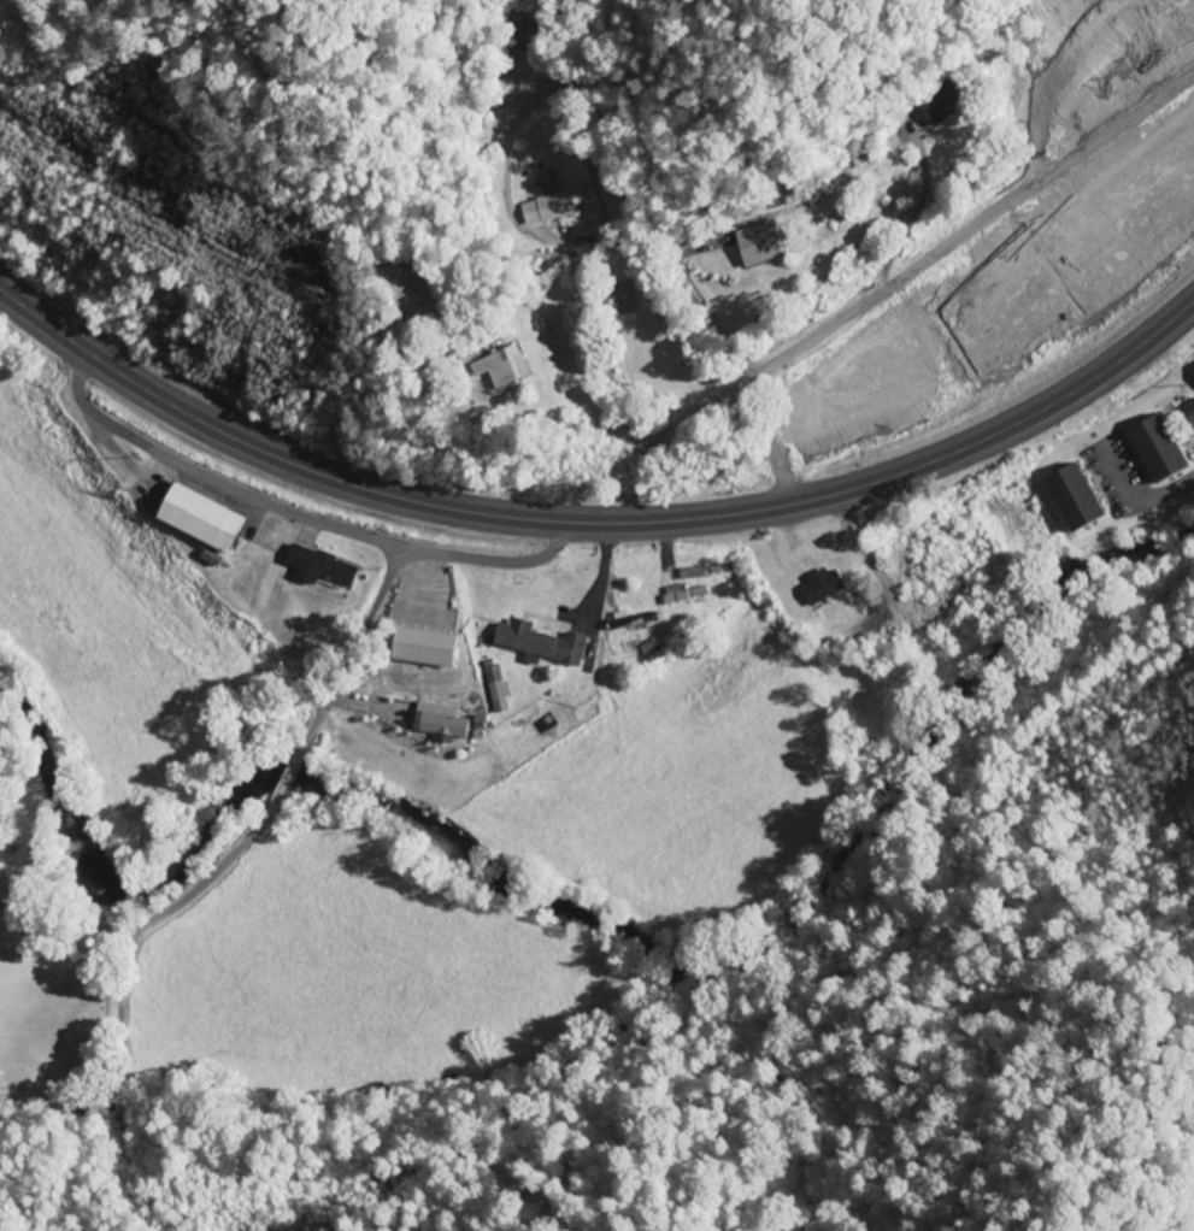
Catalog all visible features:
building: (936, 105)
road: (906, 216)
building: (752, 245)
road: (917, 267)
road: (705, 313)
building: (498, 367)
road: (590, 385)
building: (1186, 414)
building: (1151, 448)
road: (1140, 493)
building: (1067, 496)
road: (295, 514)
building: (189, 520)
road: (595, 523)
building: (314, 567)
building: (687, 572)
building: (814, 585)
building: (676, 594)
building: (625, 620)
building: (535, 642)
building: (414, 646)
building: (645, 652)
building: (433, 721)
road: (216, 868)
road: (64, 930)

